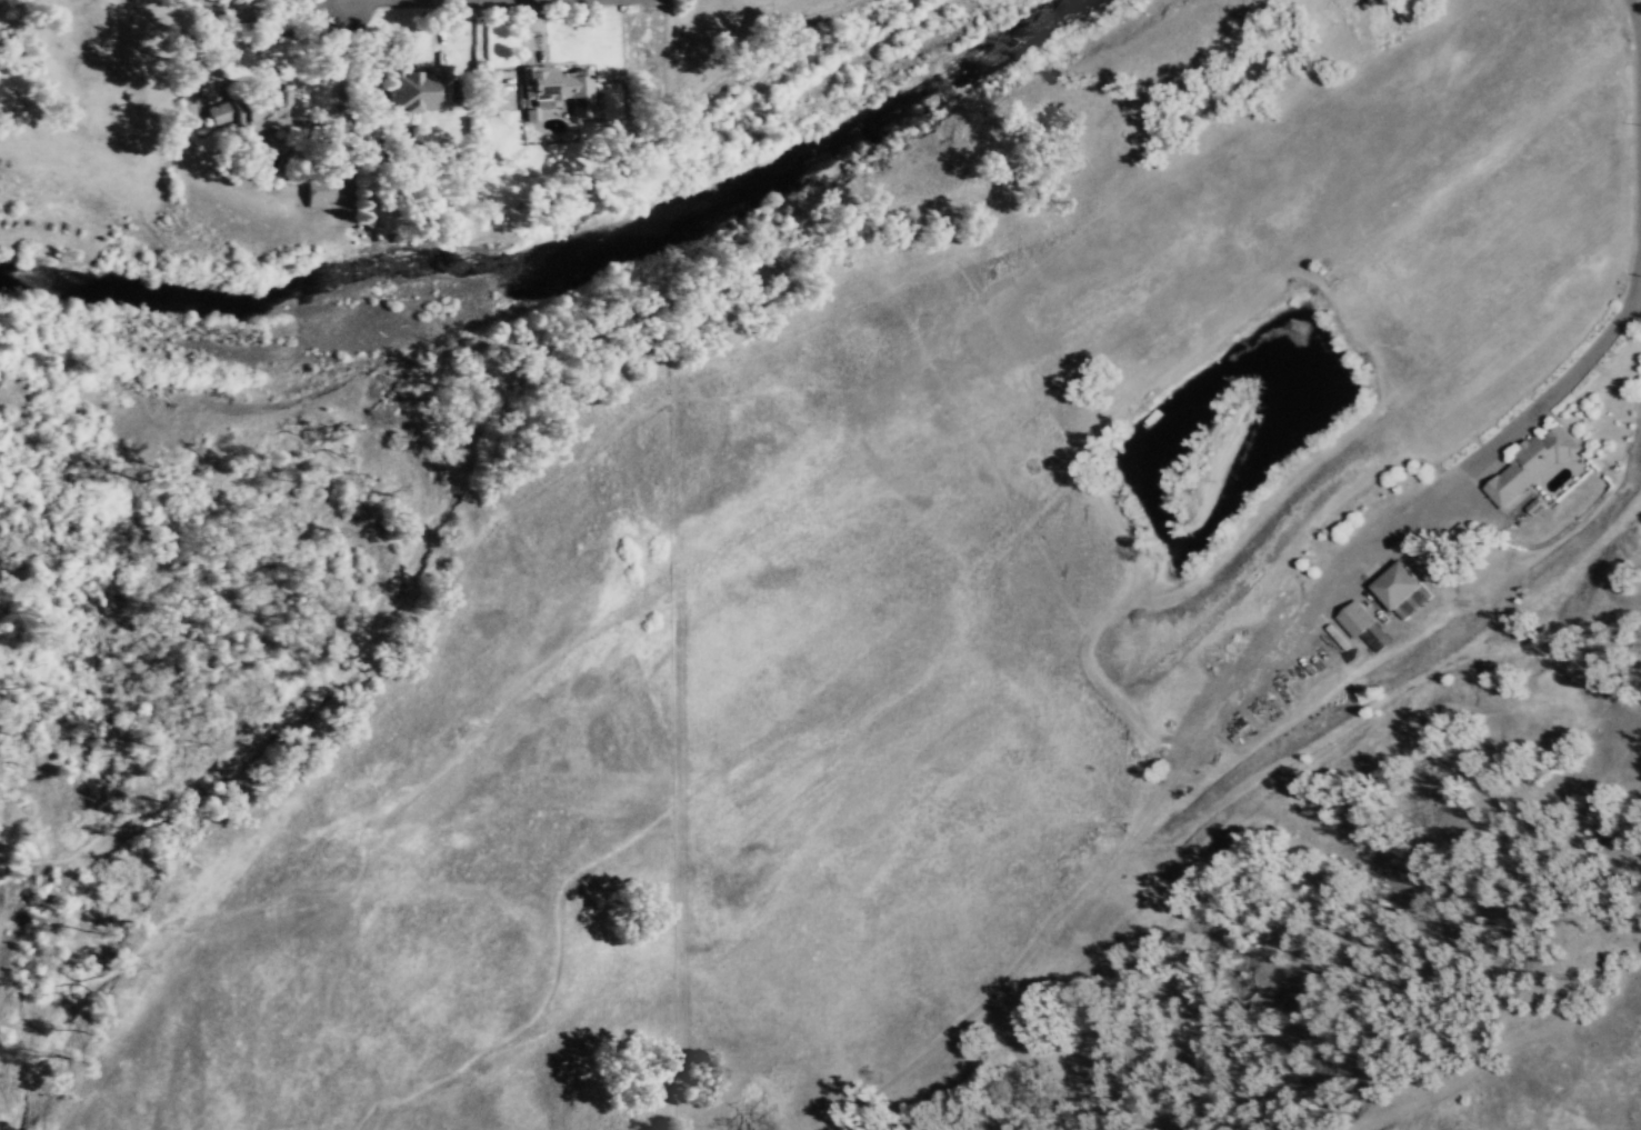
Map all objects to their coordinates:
road: (1637, 27)
building: (561, 86)
building: (417, 90)
road: (340, 98)
building: (266, 109)
building: (531, 113)
building: (318, 189)
river: (726, 190)
river: (176, 298)
road: (1562, 386)
building: (1532, 463)
building: (1403, 590)
building: (1357, 618)
building: (1377, 637)
road: (1100, 869)
road: (1400, 1108)

